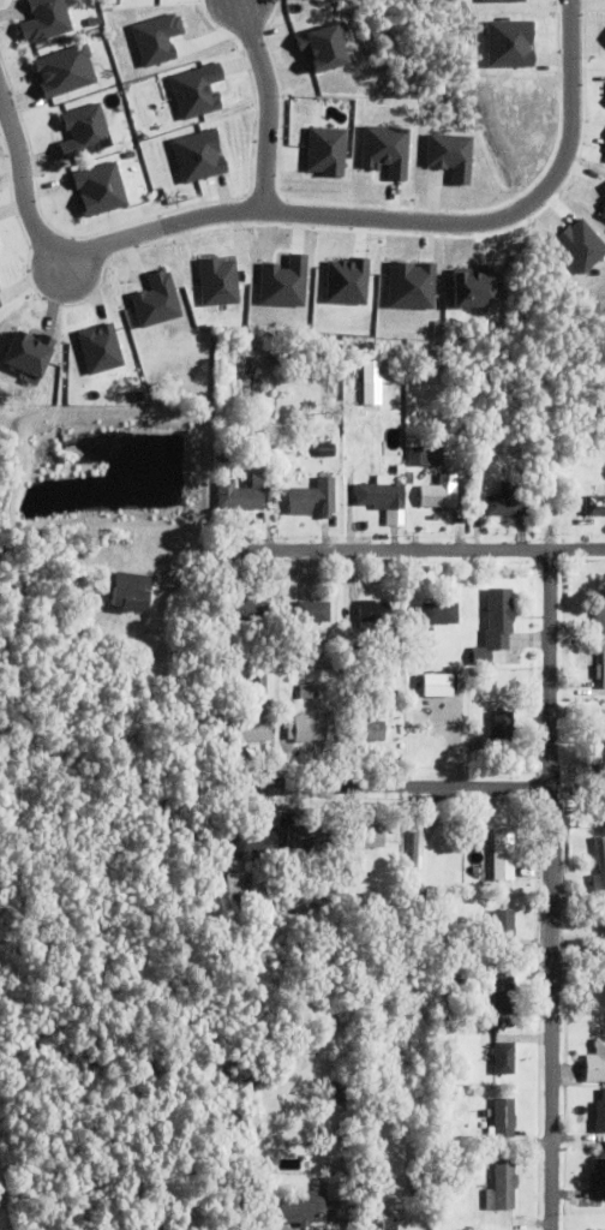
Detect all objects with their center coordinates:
building: (47, 19)
building: (67, 70)
road: (265, 102)
building: (86, 130)
building: (328, 150)
building: (200, 155)
building: (102, 189)
road: (502, 213)
building: (0, 247)
road: (80, 249)
building: (0, 288)
building: (477, 289)
building: (158, 300)
building: (0, 304)
building: (101, 348)
building: (31, 353)
building: (375, 371)
building: (251, 382)
building: (271, 418)
building: (359, 441)
building: (325, 450)
building: (224, 453)
building: (425, 456)
building: (527, 467)
building: (409, 478)
building: (438, 494)
building: (241, 495)
building: (382, 497)
building: (312, 500)
building: (505, 502)
building: (594, 506)
road: (412, 549)
building: (128, 599)
building: (346, 611)
building: (244, 613)
building: (312, 613)
building: (371, 614)
building: (598, 614)
building: (438, 615)
building: (498, 617)
building: (351, 657)
building: (480, 657)
building: (601, 668)
building: (441, 685)
building: (305, 692)
building: (265, 709)
building: (502, 728)
building: (305, 730)
building: (367, 733)
building: (599, 738)
building: (480, 745)
road: (385, 786)
building: (597, 799)
building: (307, 838)
building: (366, 838)
building: (254, 846)
building: (417, 849)
building: (502, 858)
building: (599, 867)
building: (233, 884)
road: (555, 889)
building: (259, 892)
building: (238, 897)
building: (358, 902)
building: (502, 927)
building: (444, 971)
building: (604, 971)
building: (503, 996)
building: (594, 1003)
building: (502, 1059)
building: (594, 1064)
building: (337, 1092)
building: (450, 1097)
building: (599, 1116)
building: (502, 1121)
building: (499, 1142)
building: (419, 1180)
building: (599, 1181)
building: (502, 1188)
building: (336, 1189)
building: (301, 1210)
building: (381, 1225)
building: (601, 1229)

